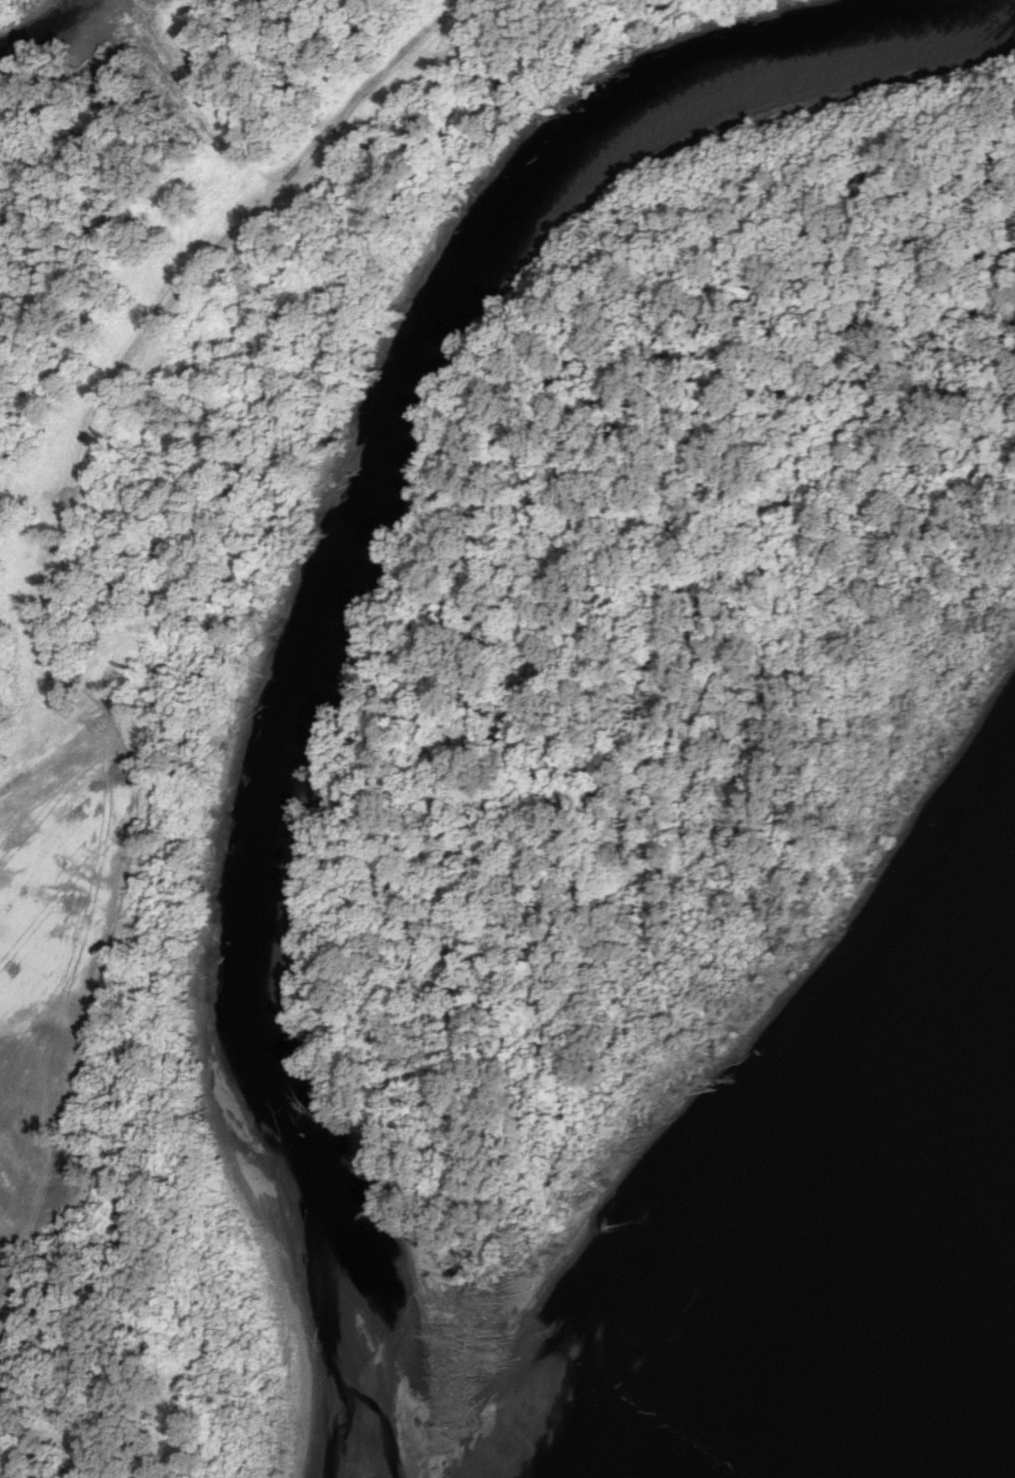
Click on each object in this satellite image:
road: (193, 95)
road: (363, 107)
road: (66, 461)
crop: (53, 971)

